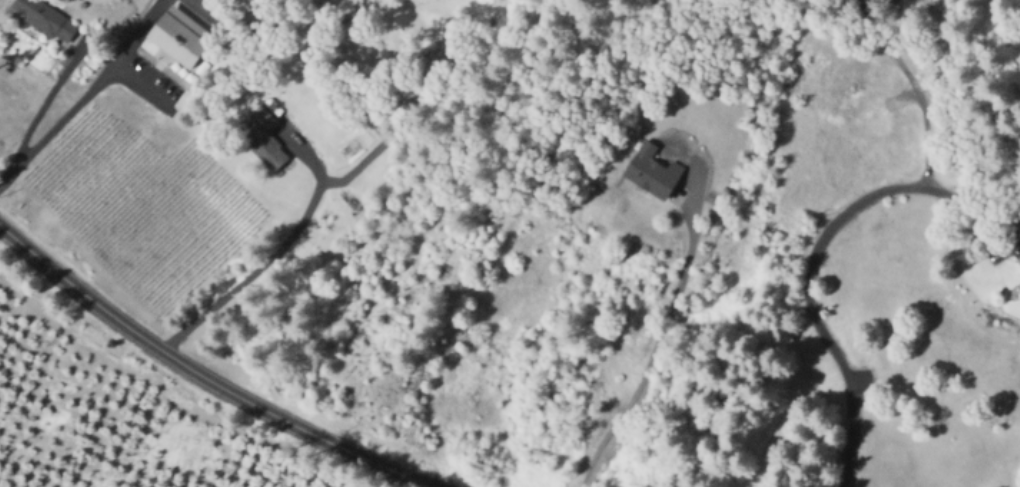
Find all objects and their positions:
building: (48, 16)
building: (177, 34)
road: (918, 87)
road: (83, 93)
road: (40, 107)
building: (265, 137)
building: (652, 173)
road: (280, 247)
road: (811, 255)
building: (1018, 259)
road: (654, 347)
road: (204, 376)

